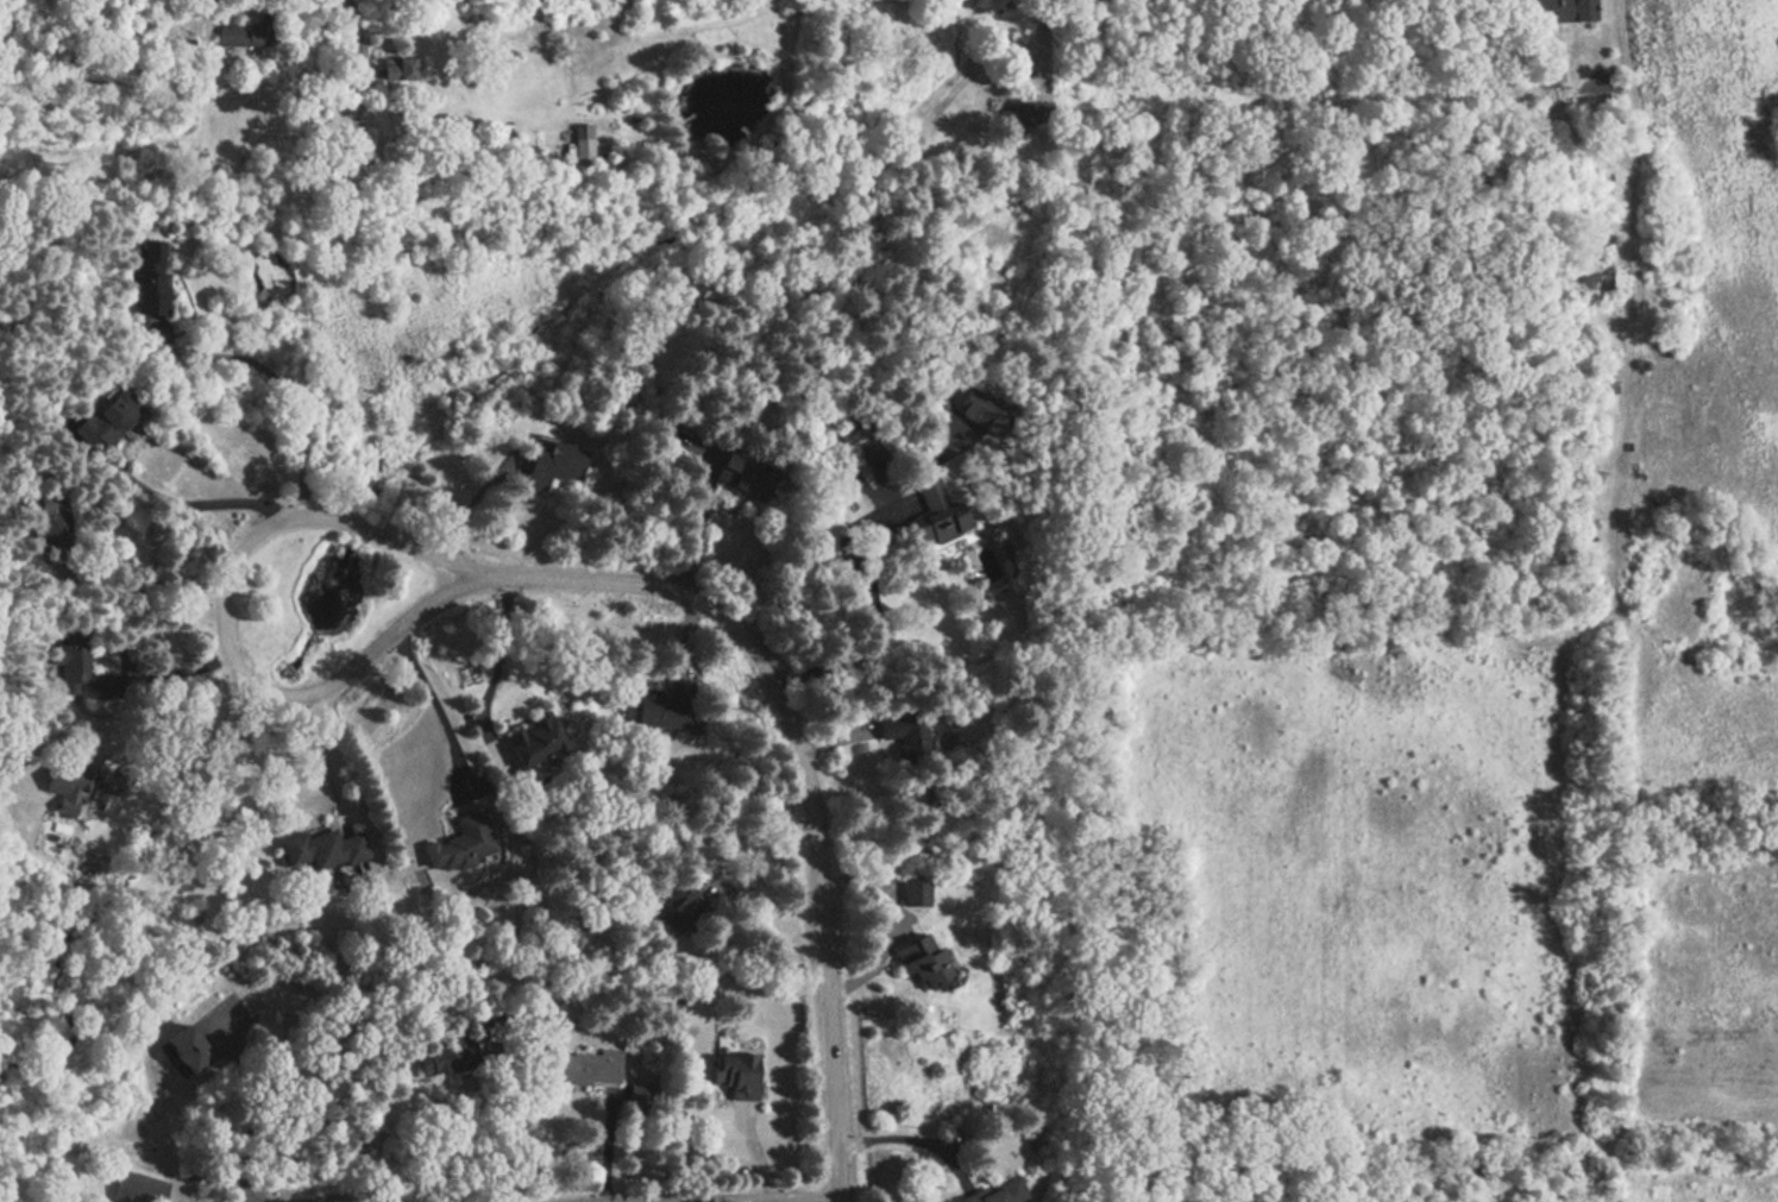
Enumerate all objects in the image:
building: (1563, 11)
road: (1604, 30)
building: (245, 31)
road: (1118, 42)
road: (1039, 48)
road: (1538, 55)
building: (1551, 62)
road: (973, 67)
building: (394, 69)
road: (1629, 80)
building: (1020, 118)
road: (1576, 139)
building: (582, 145)
road: (1629, 215)
crop: (1719, 253)
building: (150, 277)
building: (1598, 282)
road: (1610, 327)
building: (1602, 370)
road: (285, 392)
building: (979, 405)
building: (850, 423)
building: (871, 447)
road: (1614, 459)
building: (549, 462)
road: (913, 472)
building: (745, 482)
road: (470, 498)
road: (881, 504)
road: (190, 506)
building: (935, 512)
road: (696, 528)
road: (358, 530)
road: (227, 567)
road: (151, 571)
quarry: (1684, 591)
road: (435, 594)
road: (862, 604)
road: (1585, 627)
road: (502, 655)
road: (169, 667)
road: (268, 692)
road: (434, 706)
building: (660, 707)
road: (165, 713)
building: (904, 729)
crop: (1704, 732)
road: (837, 740)
building: (532, 741)
road: (329, 750)
road: (806, 781)
road: (743, 835)
building: (461, 844)
building: (322, 849)
road: (854, 880)
building: (915, 892)
road: (897, 926)
road: (881, 955)
building: (921, 959)
crop: (1709, 994)
building: (436, 1061)
building: (586, 1066)
building: (734, 1074)
road: (252, 1129)
road: (516, 1131)
road: (913, 1141)
road: (949, 1141)
building: (999, 1192)
road: (728, 1198)
road: (353, 1200)

